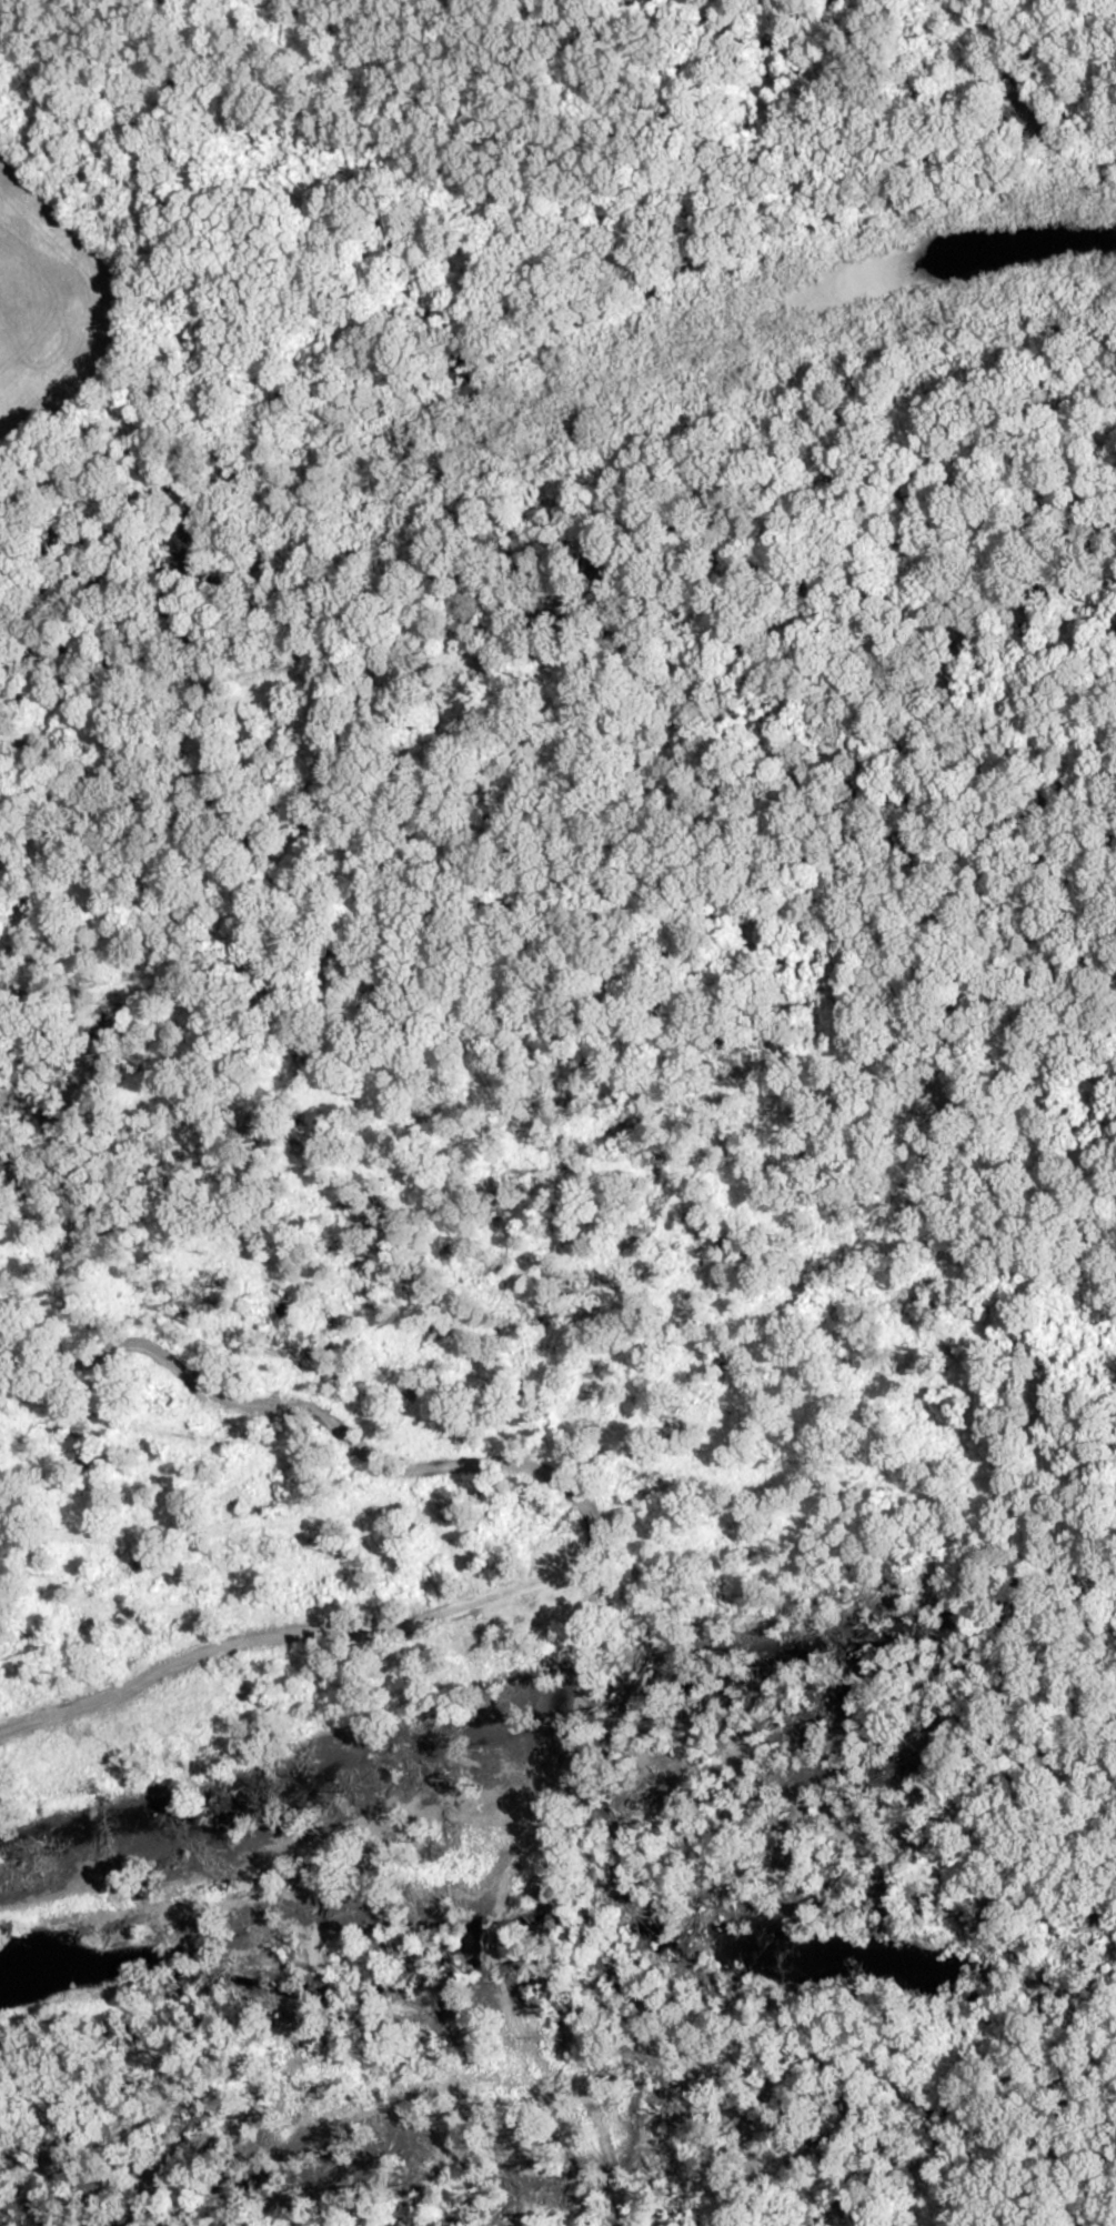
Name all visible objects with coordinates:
road: (157, 176)
road: (554, 231)

